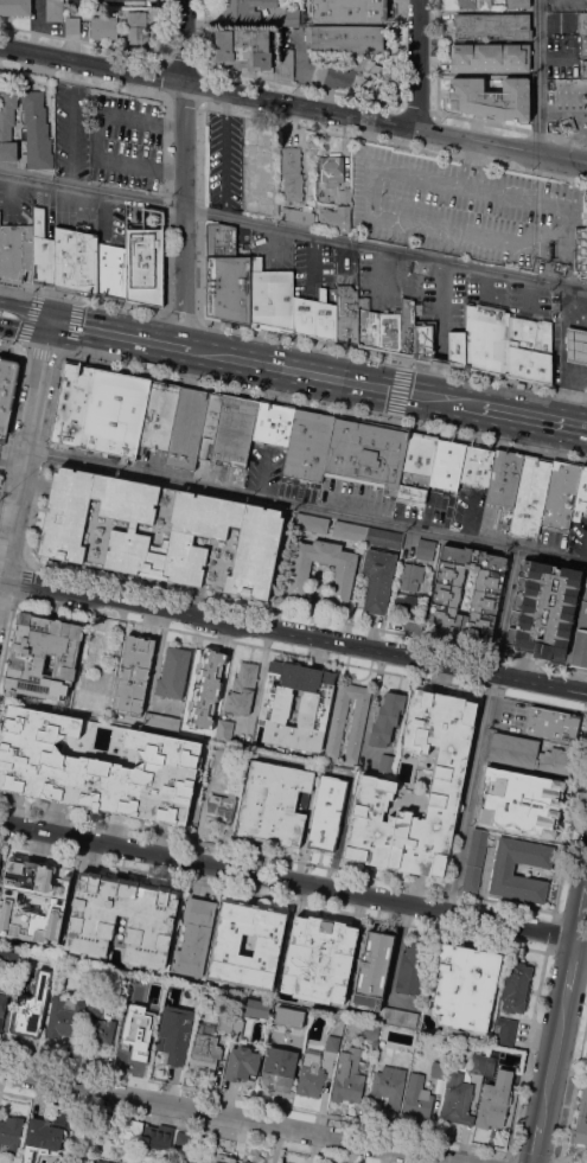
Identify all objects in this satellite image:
building: (128, 0)
building: (474, 4)
building: (517, 4)
building: (14, 7)
building: (53, 9)
building: (244, 9)
building: (349, 9)
building: (121, 13)
building: (292, 17)
building: (582, 23)
building: (71, 24)
building: (103, 24)
building: (492, 24)
building: (136, 28)
building: (345, 38)
building: (583, 45)
building: (244, 47)
building: (490, 58)
building: (287, 62)
road: (416, 64)
building: (583, 68)
building: (349, 75)
road: (537, 76)
building: (490, 97)
road: (183, 101)
road: (293, 103)
road: (415, 113)
road: (166, 120)
road: (286, 120)
building: (7, 126)
road: (509, 126)
building: (568, 126)
building: (36, 130)
parking lot: (71, 130)
road: (97, 136)
road: (69, 139)
parking lot: (126, 142)
parking lot: (223, 160)
building: (331, 168)
road: (183, 173)
building: (292, 173)
building: (344, 194)
parking lot: (15, 203)
building: (306, 207)
parking lot: (465, 207)
parking lot: (45, 209)
parking lot: (76, 212)
building: (298, 215)
parking lot: (134, 217)
building: (339, 218)
parking lot: (110, 223)
road: (442, 228)
road: (293, 230)
building: (219, 239)
parking lot: (242, 242)
building: (17, 250)
building: (42, 250)
parking lot: (270, 251)
building: (581, 251)
building: (65, 258)
building: (85, 262)
building: (143, 266)
parking lot: (345, 267)
parking lot: (313, 269)
building: (110, 270)
parking lot: (383, 281)
building: (217, 286)
building: (238, 288)
parking lot: (486, 292)
building: (256, 298)
road: (82, 299)
building: (272, 299)
building: (286, 300)
parking lot: (529, 301)
parking lot: (441, 303)
building: (320, 312)
building: (296, 313)
building: (345, 314)
road: (181, 317)
building: (308, 317)
road: (25, 318)
building: (331, 321)
traffic signals: (51, 324)
building: (366, 325)
building: (407, 326)
building: (383, 332)
building: (394, 332)
road: (114, 334)
road: (440, 334)
building: (486, 338)
building: (423, 339)
road: (11, 345)
building: (576, 345)
gas station: (576, 345)
building: (455, 347)
building: (529, 349)
road: (42, 351)
building: (0, 359)
road: (391, 359)
road: (317, 375)
building: (5, 389)
road: (398, 390)
traffic signals: (398, 391)
building: (71, 404)
road: (325, 405)
road: (468, 405)
building: (114, 413)
building: (159, 413)
road: (11, 414)
road: (534, 418)
building: (273, 421)
building: (210, 424)
building: (187, 427)
building: (234, 428)
building: (307, 443)
road: (12, 449)
building: (365, 453)
road: (25, 455)
building: (447, 462)
road: (11, 465)
building: (416, 465)
building: (476, 465)
building: (504, 477)
building: (530, 493)
building: (560, 493)
building: (580, 496)
road: (306, 505)
building: (311, 522)
building: (350, 530)
building: (161, 531)
parking lot: (576, 533)
building: (384, 537)
parking lot: (551, 539)
building: (425, 549)
road: (20, 574)
building: (299, 575)
building: (410, 576)
building: (378, 579)
building: (446, 592)
road: (202, 598)
building: (406, 606)
road: (504, 611)
building: (550, 612)
road: (293, 632)
building: (43, 656)
building: (173, 672)
building: (133, 675)
building: (205, 688)
building: (242, 689)
building: (313, 705)
building: (387, 717)
building: (161, 722)
building: (553, 723)
building: (336, 727)
building: (223, 730)
building: (219, 749)
building: (529, 754)
building: (387, 763)
building: (97, 767)
building: (343, 771)
building: (376, 786)
road: (467, 793)
building: (521, 801)
building: (274, 803)
building: (222, 805)
building: (327, 813)
building: (0, 857)
building: (474, 860)
building: (502, 871)
road: (293, 880)
building: (57, 903)
building: (149, 927)
building: (193, 938)
building: (268, 944)
building: (8, 957)
building: (319, 958)
building: (413, 967)
building: (372, 969)
building: (465, 985)
building: (515, 986)
building: (1, 1004)
building: (32, 1005)
building: (253, 1007)
building: (94, 1008)
building: (152, 1009)
building: (189, 1011)
building: (64, 1017)
building: (288, 1017)
building: (401, 1017)
building: (225, 1022)
road: (560, 1028)
building: (371, 1030)
building: (504, 1031)
building: (100, 1035)
building: (168, 1040)
building: (332, 1043)
building: (133, 1044)
building: (204, 1052)
building: (477, 1062)
building: (241, 1063)
building: (280, 1067)
building: (439, 1069)
building: (310, 1074)
building: (347, 1076)
building: (389, 1086)
building: (417, 1097)
building: (457, 1099)
building: (496, 1101)
road: (231, 1118)
building: (581, 1120)
building: (9, 1133)
building: (157, 1137)
building: (183, 1138)
building: (40, 1139)
building: (586, 1148)
building: (221, 1158)
building: (179, 1161)
building: (249, 1161)
building: (102, 1162)
building: (281, 1162)
building: (283, 1162)

